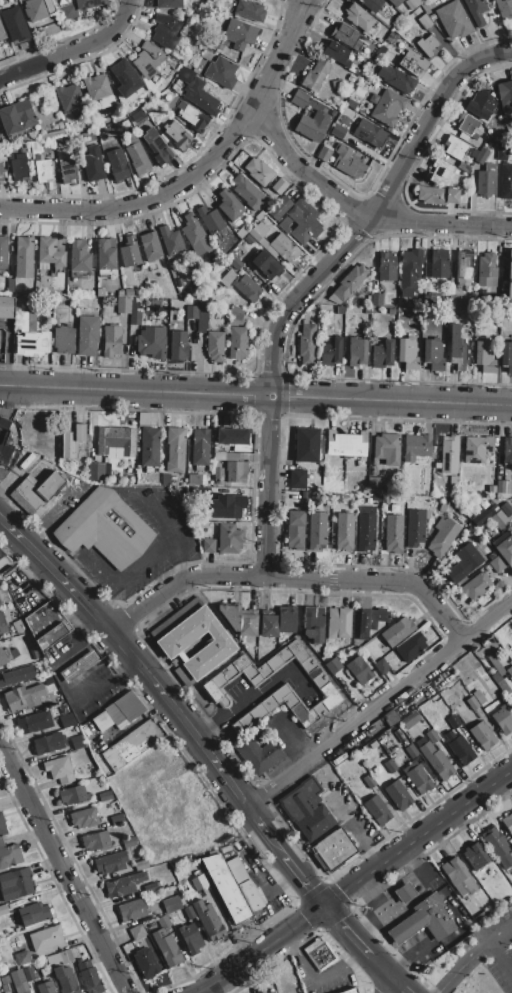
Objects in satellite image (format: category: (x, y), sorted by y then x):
building: (394, 2)
building: (412, 3)
building: (168, 4)
building: (369, 4)
building: (47, 6)
building: (78, 7)
building: (34, 10)
building: (249, 10)
building: (476, 10)
building: (505, 10)
building: (432, 17)
building: (358, 18)
building: (453, 20)
building: (425, 21)
building: (13, 23)
building: (165, 30)
building: (1, 33)
building: (239, 34)
building: (346, 36)
building: (395, 40)
building: (427, 45)
road: (73, 50)
building: (379, 51)
building: (336, 53)
building: (206, 55)
building: (147, 59)
building: (412, 63)
building: (221, 72)
building: (316, 74)
building: (125, 78)
building: (396, 78)
building: (337, 83)
building: (95, 86)
building: (196, 92)
building: (68, 97)
building: (505, 97)
building: (299, 99)
building: (349, 103)
building: (479, 104)
building: (386, 107)
building: (68, 116)
building: (191, 116)
building: (16, 117)
building: (338, 118)
building: (466, 123)
building: (59, 125)
building: (312, 125)
building: (338, 131)
building: (369, 133)
building: (51, 134)
building: (177, 135)
building: (43, 143)
building: (49, 144)
building: (155, 145)
building: (455, 148)
building: (324, 152)
building: (501, 153)
building: (481, 155)
building: (36, 158)
building: (138, 158)
building: (345, 161)
building: (93, 164)
building: (117, 165)
building: (17, 166)
building: (42, 170)
building: (66, 170)
building: (258, 171)
road: (196, 172)
building: (440, 172)
building: (2, 174)
building: (485, 180)
building: (506, 181)
building: (279, 186)
building: (247, 192)
building: (436, 195)
building: (228, 205)
building: (279, 207)
building: (262, 212)
road: (359, 212)
building: (209, 219)
building: (303, 220)
building: (266, 221)
building: (284, 222)
building: (241, 231)
building: (195, 235)
building: (248, 239)
building: (169, 240)
building: (274, 243)
building: (149, 246)
building: (235, 251)
building: (3, 252)
building: (49, 252)
building: (129, 252)
building: (106, 254)
building: (78, 256)
building: (23, 257)
building: (234, 262)
building: (265, 265)
building: (436, 265)
building: (386, 267)
building: (463, 267)
building: (487, 270)
building: (409, 271)
building: (509, 277)
road: (312, 279)
building: (348, 283)
building: (241, 284)
building: (10, 285)
building: (152, 286)
building: (100, 291)
building: (119, 292)
building: (128, 292)
building: (19, 299)
building: (376, 299)
building: (403, 301)
building: (454, 302)
building: (122, 304)
building: (6, 307)
building: (367, 310)
building: (191, 312)
building: (134, 313)
building: (217, 315)
building: (202, 316)
building: (235, 316)
building: (27, 321)
building: (87, 335)
building: (63, 339)
building: (111, 340)
building: (150, 341)
building: (32, 342)
building: (237, 343)
building: (307, 343)
building: (177, 344)
building: (214, 346)
building: (457, 350)
building: (331, 352)
building: (356, 352)
building: (407, 353)
building: (382, 354)
building: (432, 354)
building: (484, 356)
building: (506, 356)
road: (256, 395)
building: (143, 419)
building: (233, 438)
building: (115, 440)
building: (71, 441)
building: (4, 442)
building: (346, 444)
building: (307, 445)
building: (148, 446)
building: (416, 447)
building: (200, 448)
building: (386, 448)
building: (175, 449)
building: (477, 449)
building: (507, 450)
building: (449, 454)
building: (228, 468)
building: (95, 471)
building: (165, 479)
building: (193, 479)
building: (297, 479)
building: (149, 481)
building: (453, 482)
building: (374, 484)
building: (503, 487)
building: (39, 489)
building: (491, 489)
building: (376, 497)
building: (410, 498)
building: (228, 506)
building: (442, 507)
building: (505, 509)
road: (45, 514)
building: (427, 514)
building: (490, 515)
building: (295, 518)
building: (104, 528)
building: (365, 528)
building: (415, 528)
building: (316, 530)
building: (344, 532)
building: (393, 533)
building: (442, 536)
building: (294, 537)
building: (229, 538)
road: (174, 541)
building: (208, 546)
building: (503, 548)
building: (464, 562)
building: (5, 564)
building: (497, 564)
building: (486, 568)
road: (114, 579)
road: (289, 579)
building: (475, 586)
building: (498, 586)
building: (0, 603)
building: (230, 615)
building: (176, 618)
building: (285, 619)
building: (370, 620)
building: (338, 622)
building: (312, 623)
building: (247, 624)
building: (2, 625)
building: (46, 625)
building: (268, 625)
building: (18, 626)
building: (396, 631)
building: (172, 644)
building: (410, 646)
building: (382, 647)
building: (7, 655)
building: (333, 665)
building: (78, 666)
building: (381, 666)
road: (78, 669)
building: (358, 670)
building: (509, 671)
building: (495, 673)
building: (17, 675)
building: (47, 680)
road: (149, 681)
building: (488, 681)
building: (211, 688)
building: (478, 696)
building: (23, 697)
road: (251, 697)
building: (511, 700)
building: (472, 702)
road: (379, 703)
building: (129, 706)
building: (116, 715)
building: (389, 717)
building: (410, 719)
building: (502, 719)
building: (66, 720)
building: (33, 722)
building: (453, 722)
building: (398, 735)
building: (482, 735)
building: (432, 736)
building: (419, 741)
building: (77, 742)
building: (47, 743)
building: (131, 745)
building: (459, 748)
building: (411, 750)
building: (258, 754)
building: (338, 759)
building: (436, 760)
building: (389, 765)
building: (409, 766)
building: (425, 766)
building: (58, 769)
building: (419, 779)
building: (368, 781)
building: (397, 794)
building: (72, 795)
building: (105, 796)
building: (306, 808)
building: (376, 810)
building: (83, 817)
building: (117, 818)
building: (507, 822)
building: (2, 827)
road: (418, 837)
building: (495, 840)
building: (96, 841)
building: (128, 842)
building: (1, 843)
building: (332, 850)
building: (226, 851)
building: (10, 855)
building: (474, 855)
building: (109, 862)
building: (140, 865)
building: (235, 870)
road: (64, 871)
building: (457, 876)
road: (303, 881)
building: (198, 882)
building: (15, 884)
building: (124, 884)
building: (150, 886)
building: (225, 888)
building: (404, 892)
building: (250, 896)
road: (410, 900)
building: (171, 904)
traffic signals: (324, 905)
building: (3, 909)
building: (131, 910)
building: (32, 913)
building: (188, 913)
building: (208, 920)
building: (424, 920)
road: (346, 930)
road: (503, 931)
building: (136, 932)
building: (45, 938)
building: (191, 938)
building: (166, 943)
road: (262, 949)
road: (502, 952)
building: (320, 955)
building: (65, 956)
building: (23, 957)
building: (53, 959)
road: (405, 959)
building: (145, 962)
road: (463, 963)
road: (380, 968)
parking lot: (487, 971)
building: (28, 973)
building: (88, 976)
building: (65, 979)
road: (315, 979)
building: (4, 980)
building: (18, 981)
building: (45, 987)
road: (387, 987)
road: (398, 987)
building: (349, 991)
building: (263, 992)
building: (271, 992)

